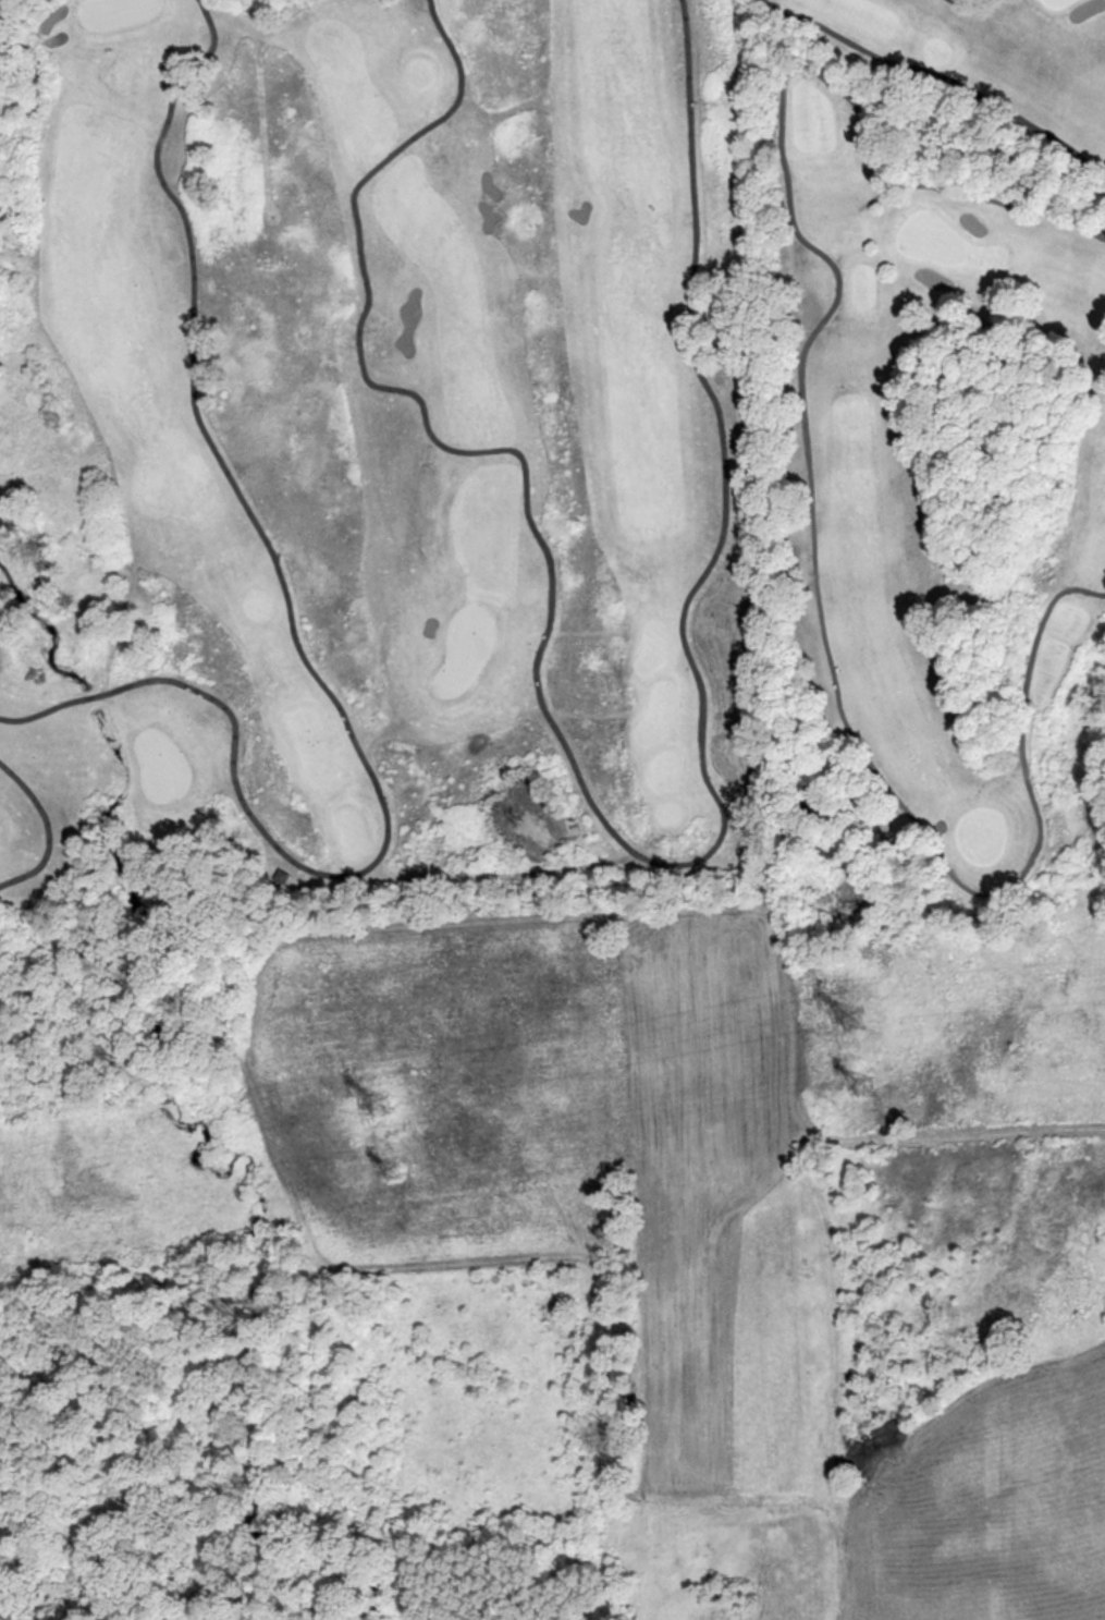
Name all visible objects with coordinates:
road: (942, 76)
park: (549, 460)
road: (810, 488)
road: (305, 665)
road: (603, 808)
road: (51, 831)
power tower: (854, 1018)
power tower: (863, 1086)
power tower: (382, 1104)
power tower: (396, 1169)

